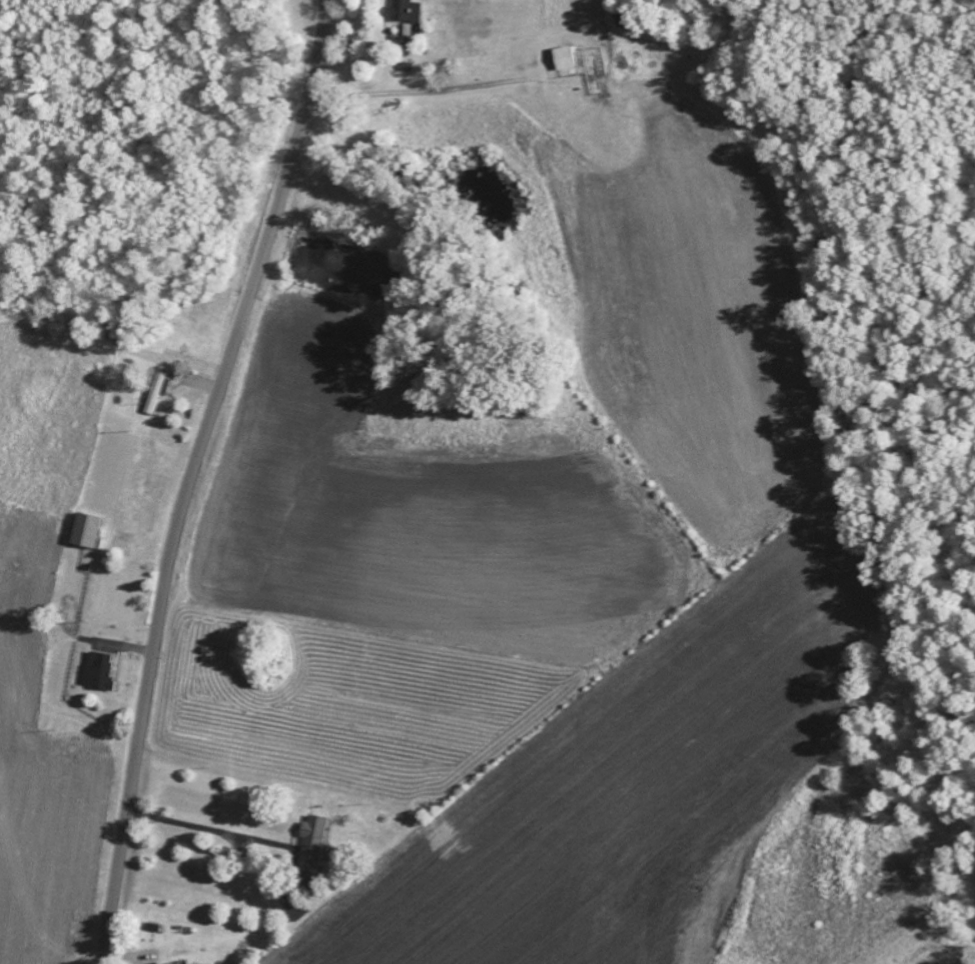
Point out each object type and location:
building: (406, 10)
building: (160, 388)
road: (191, 476)
building: (87, 531)
building: (100, 670)
building: (317, 841)
building: (297, 909)
building: (183, 963)

